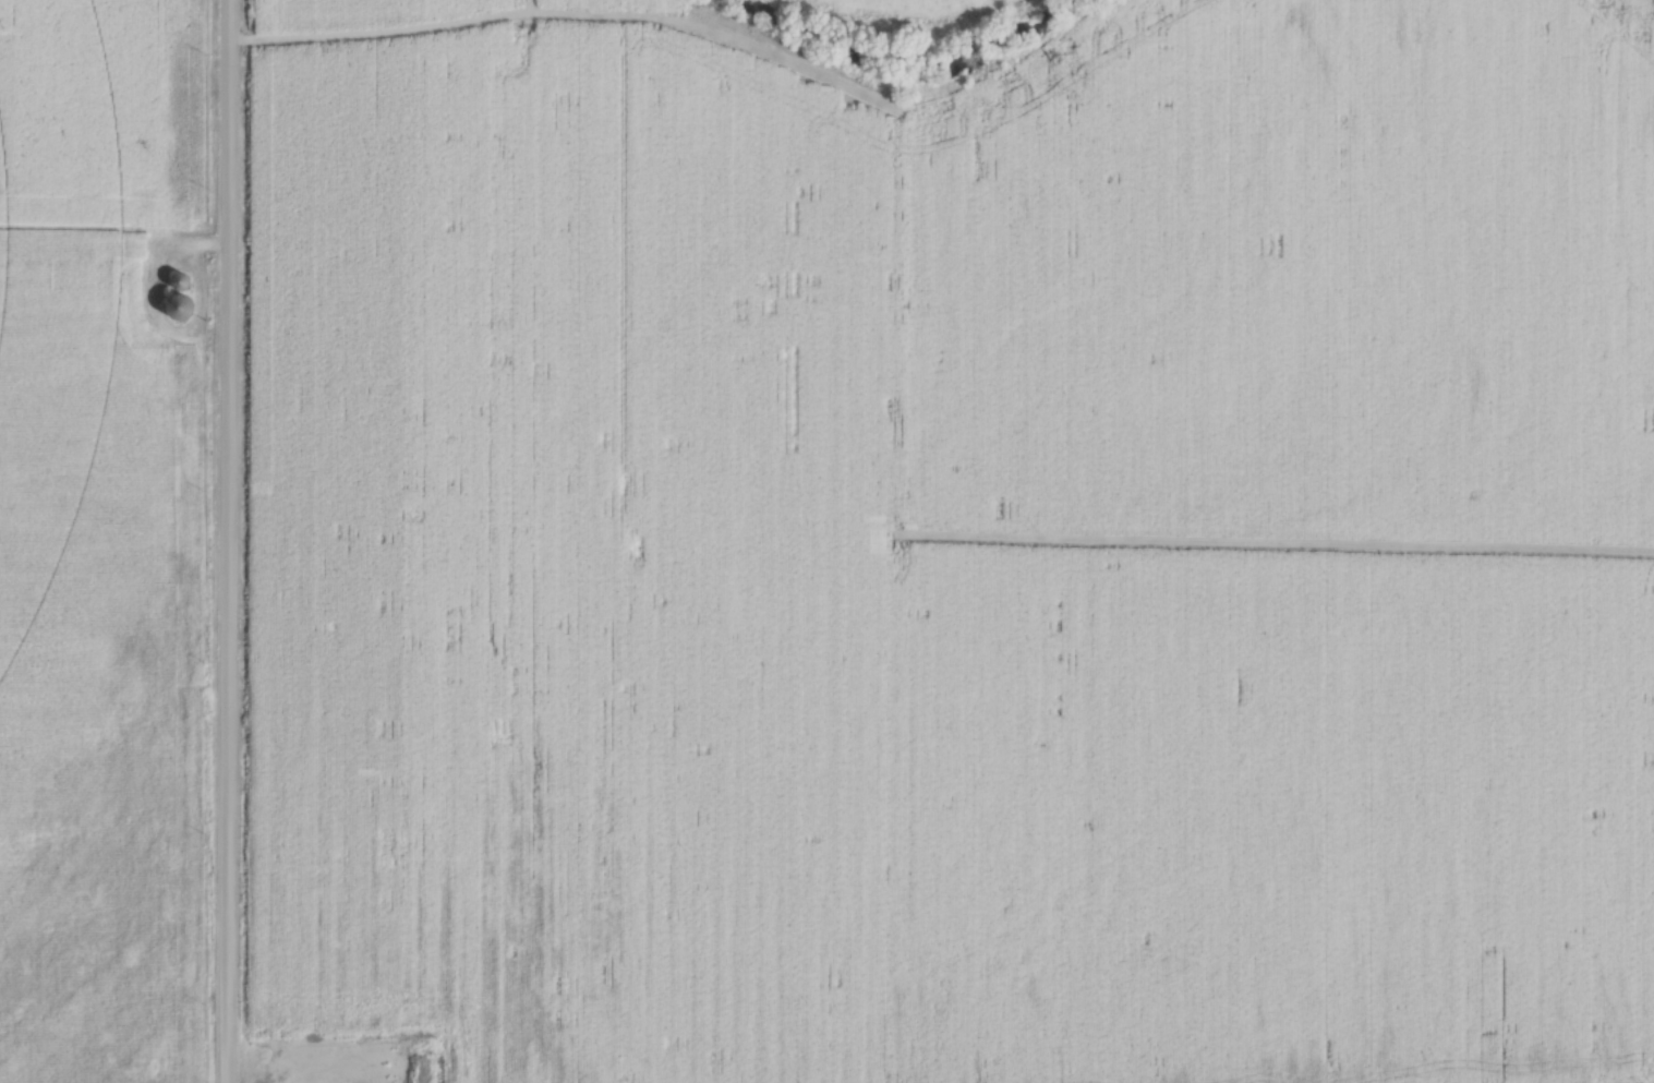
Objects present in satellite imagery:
road: (227, 541)

